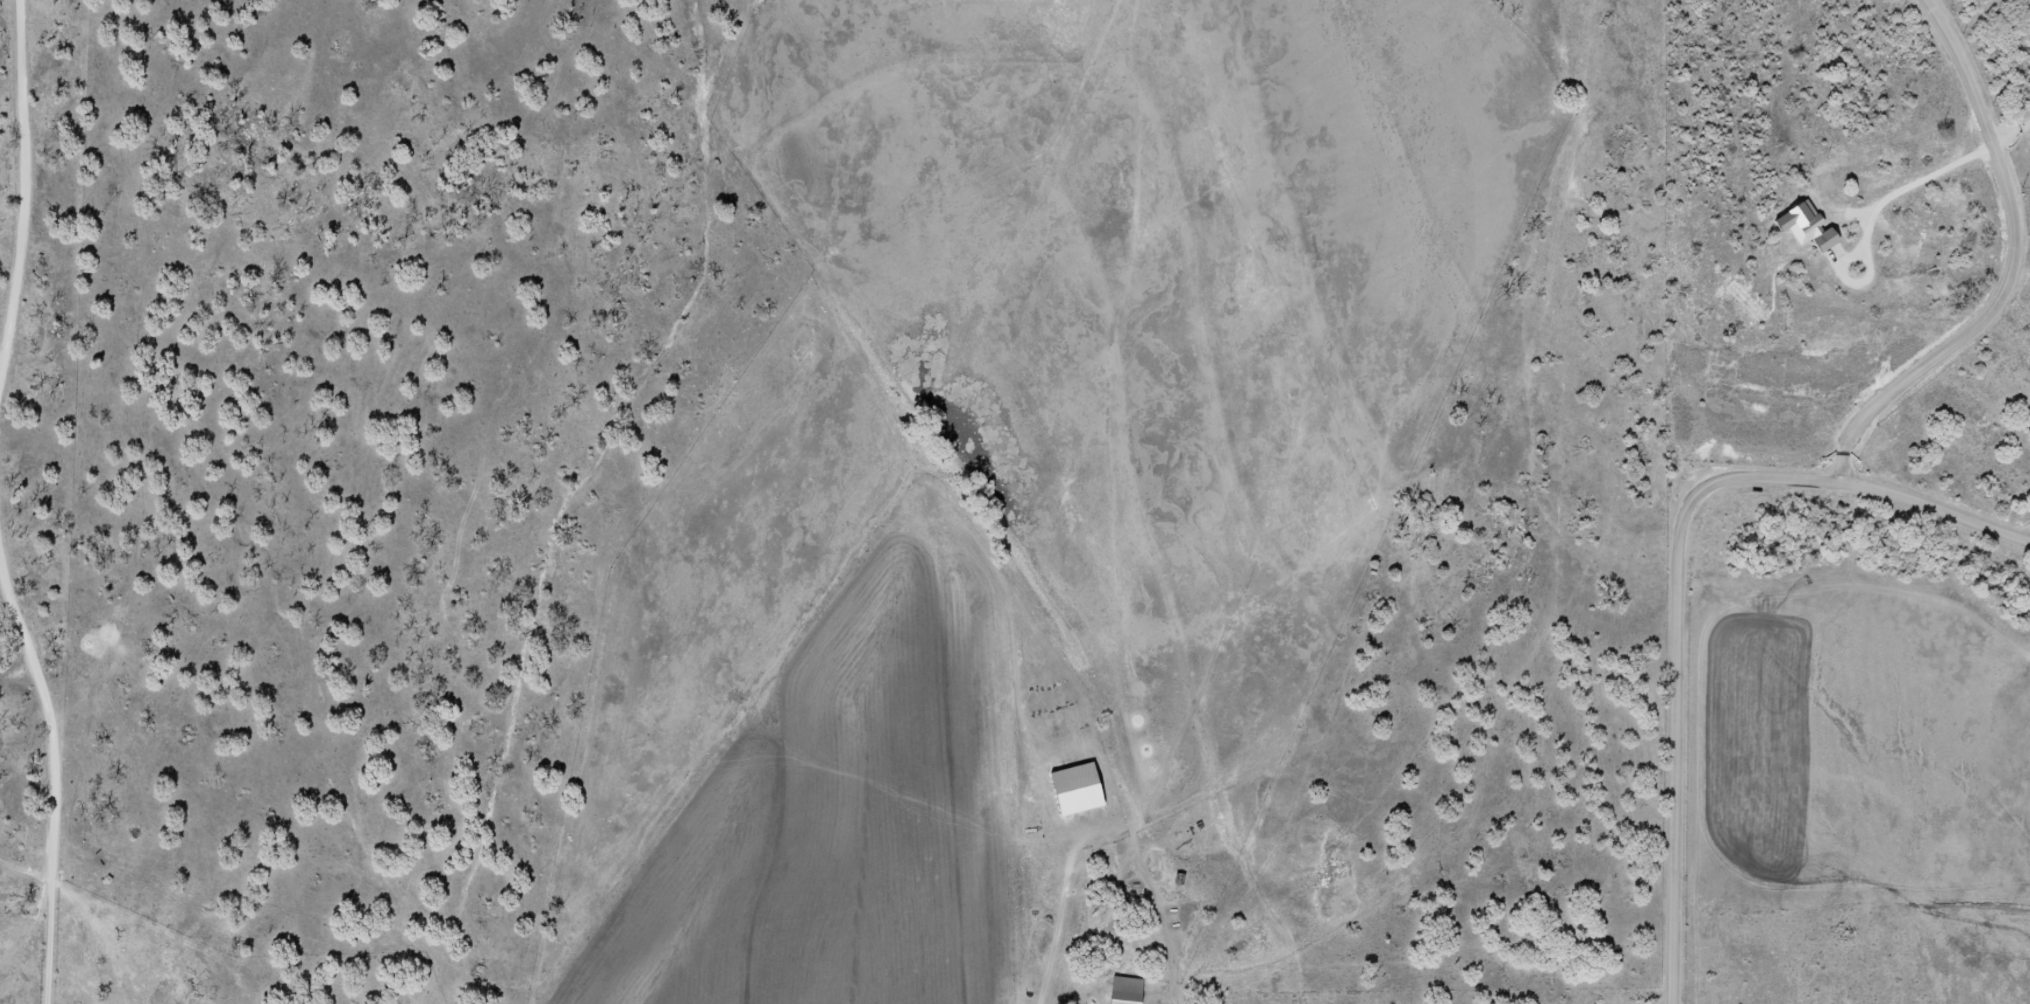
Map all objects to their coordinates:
road: (1927, 182)
road: (37, 238)
road: (2014, 271)
road: (1678, 575)
road: (57, 797)
building: (1123, 991)

